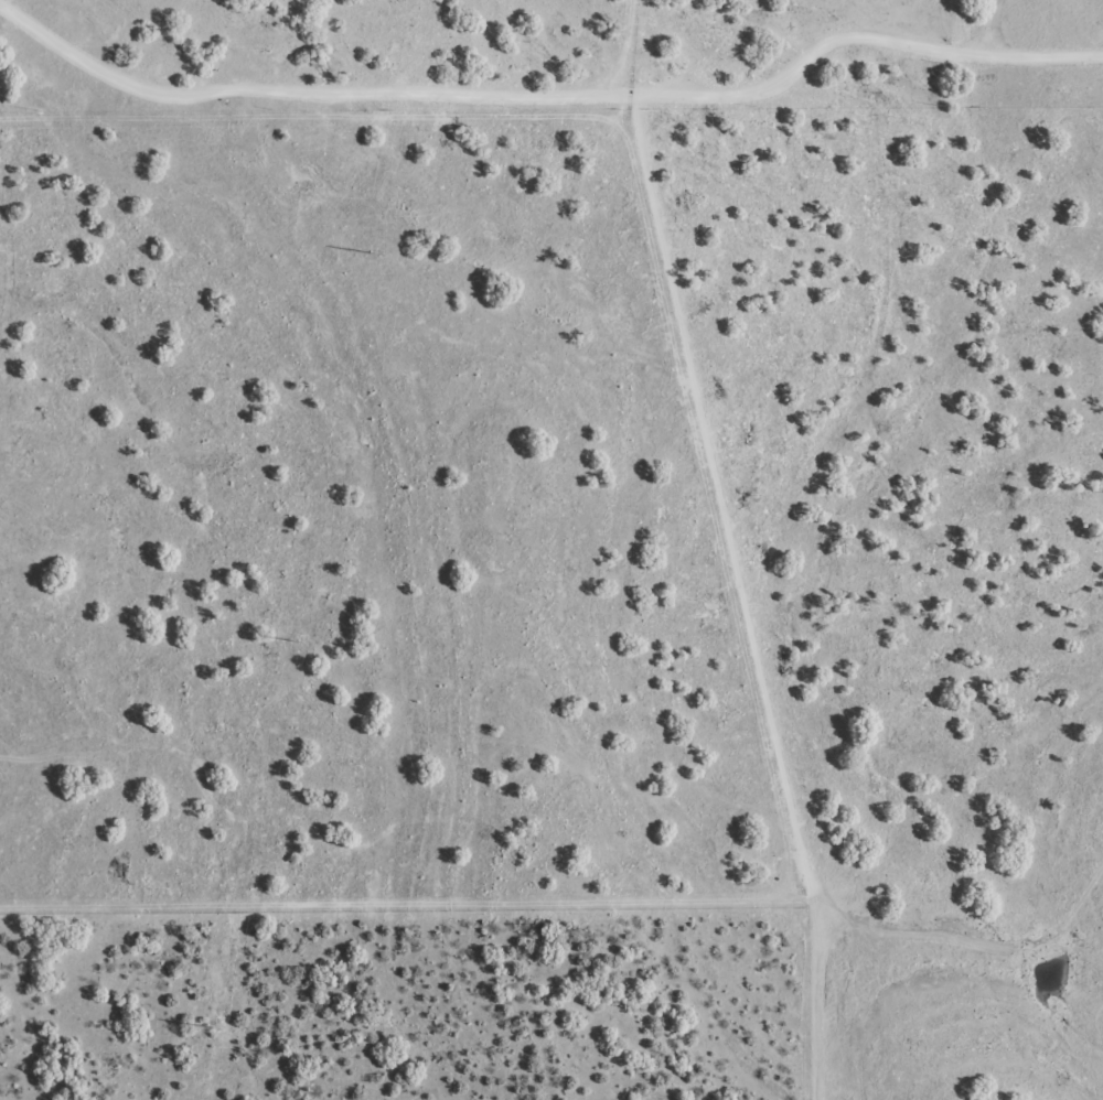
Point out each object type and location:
power tower: (375, 252)
power tower: (295, 639)
power tower: (212, 1027)

